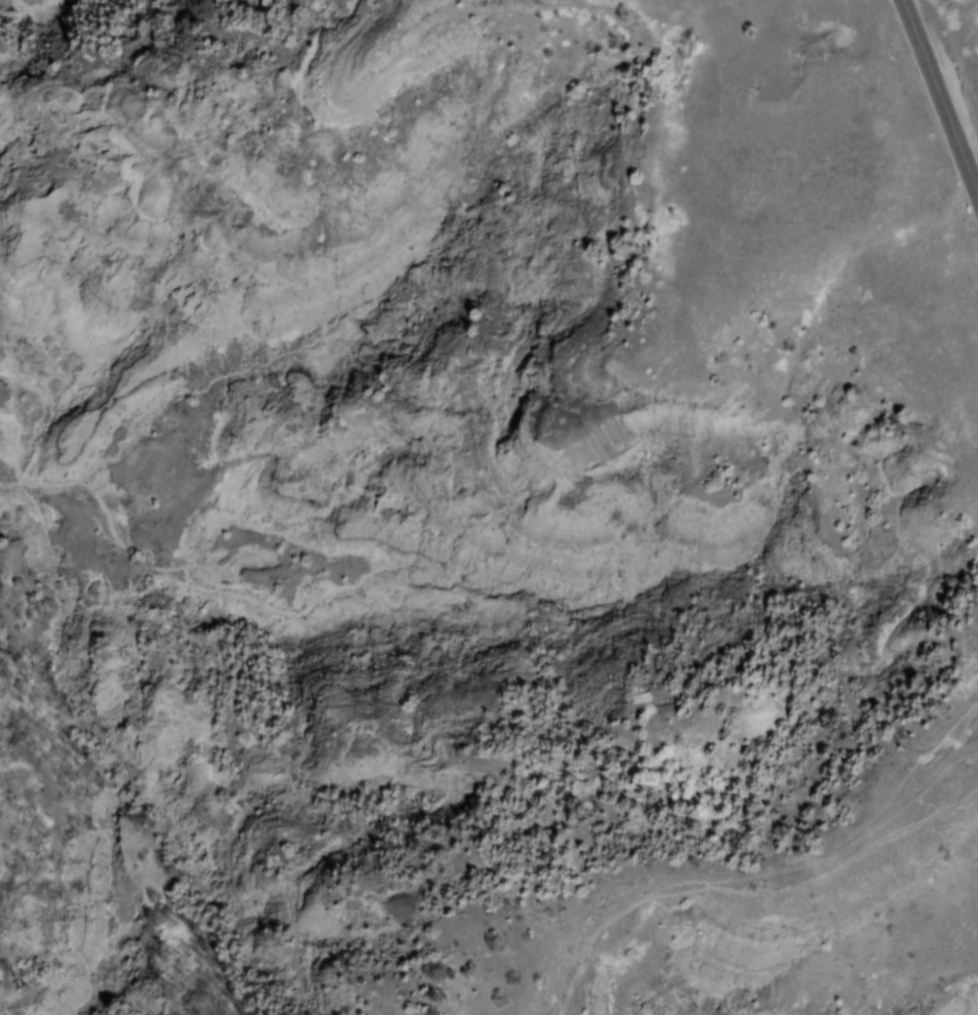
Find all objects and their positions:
road: (939, 98)
road: (875, 846)

